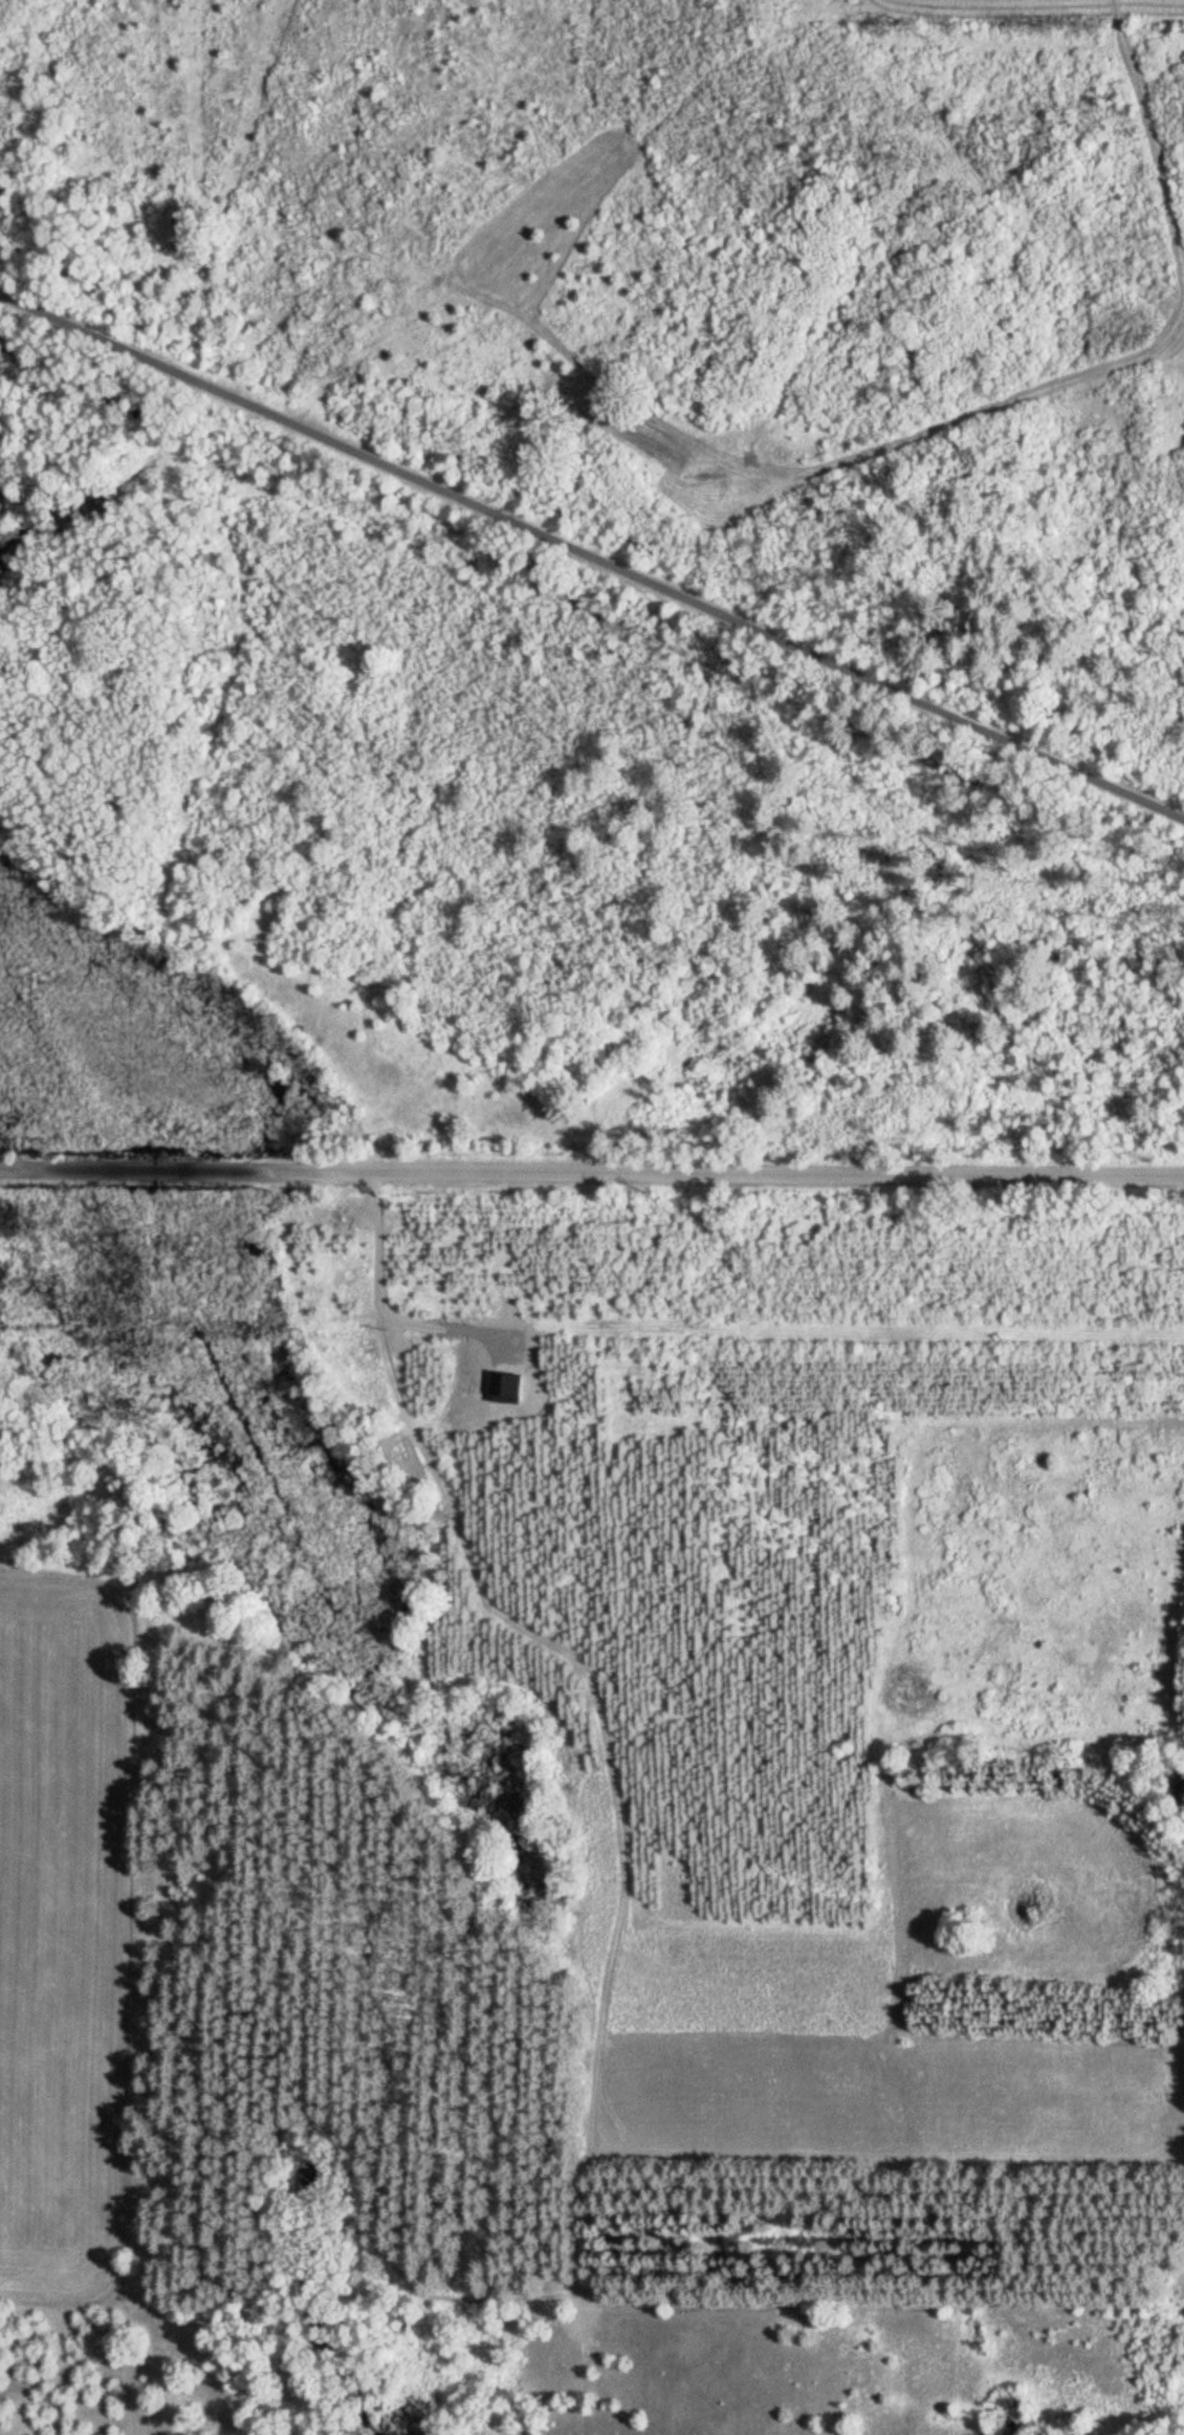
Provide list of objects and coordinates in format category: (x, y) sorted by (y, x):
road: (1078, 390)
road: (591, 556)
road: (592, 1175)

